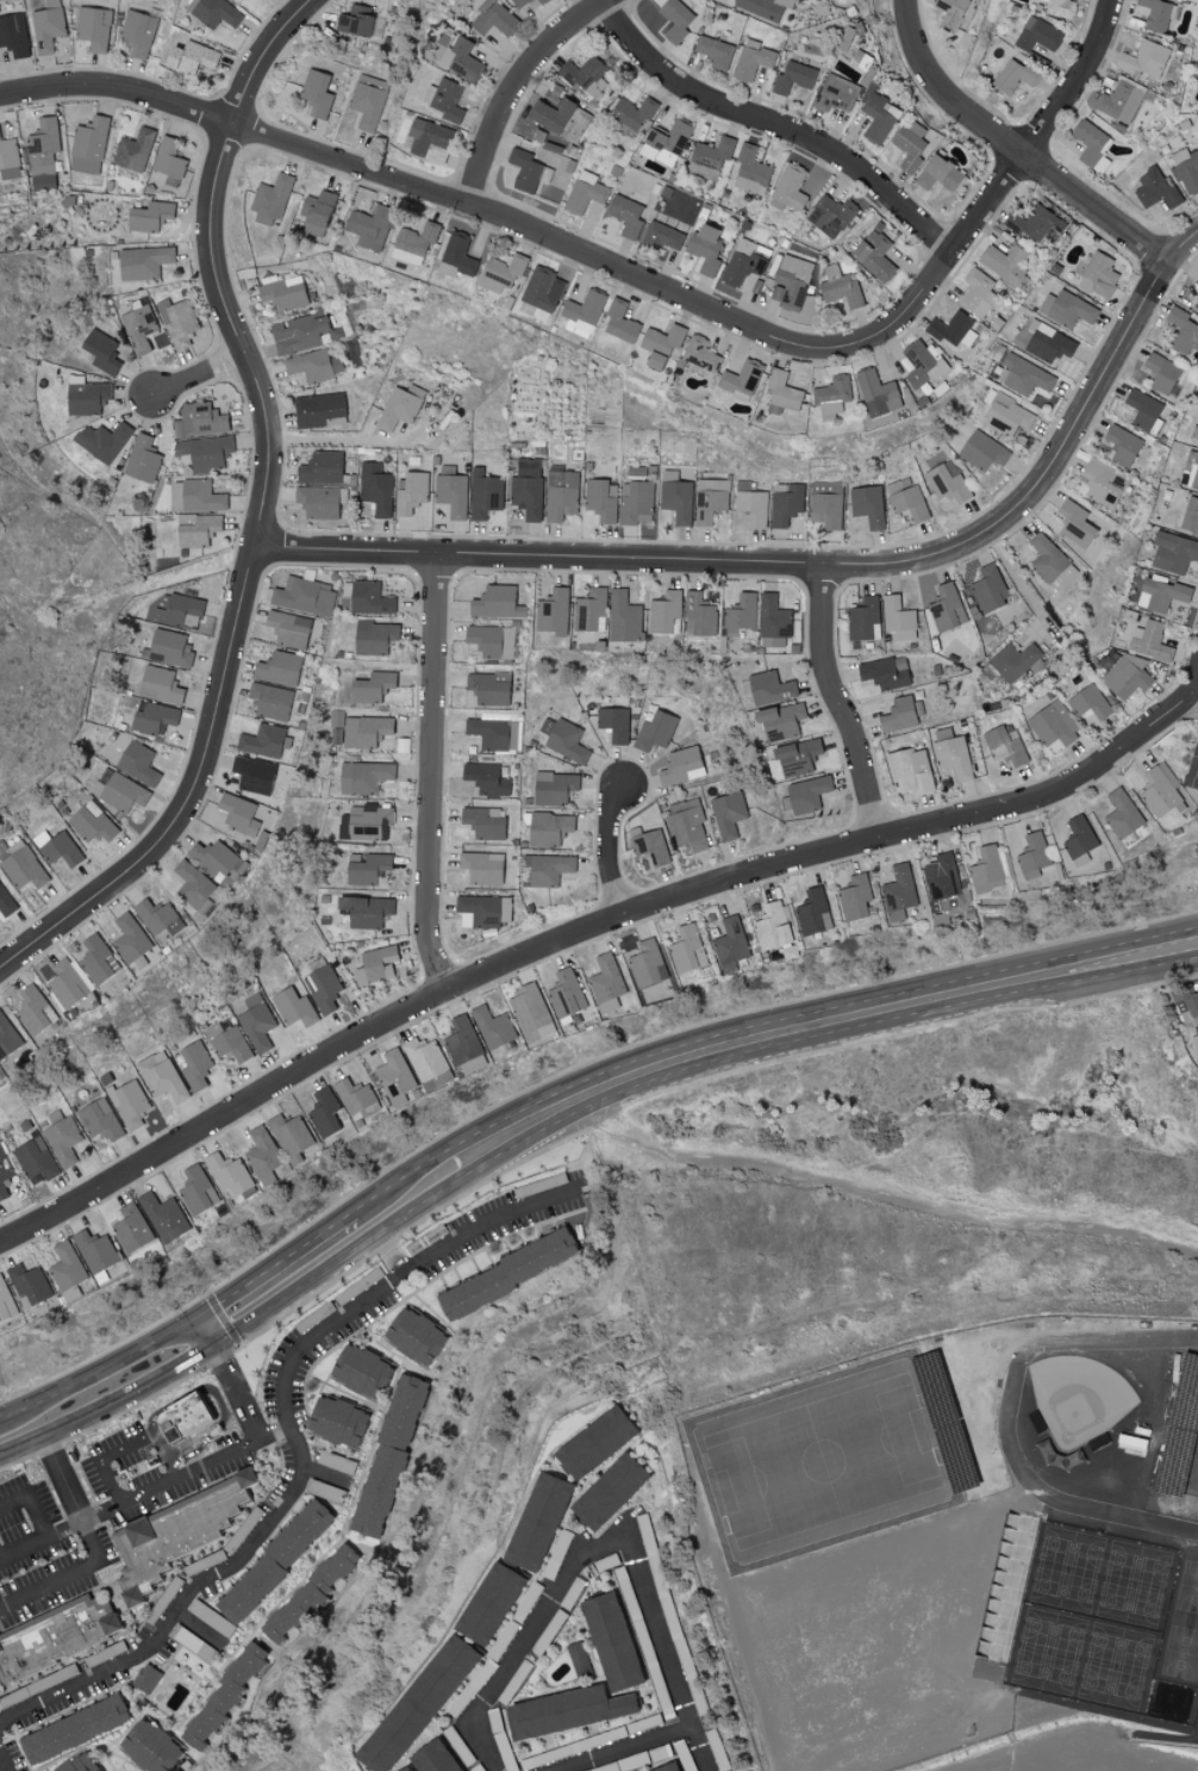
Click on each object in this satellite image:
building: (542, 1)
building: (519, 2)
building: (763, 7)
building: (1060, 8)
building: (216, 13)
building: (949, 13)
building: (1158, 14)
building: (492, 18)
building: (675, 20)
building: (358, 23)
building: (48, 26)
building: (93, 27)
building: (136, 31)
building: (13, 35)
building: (1037, 35)
building: (846, 37)
building: (716, 52)
building: (189, 58)
building: (461, 58)
building: (751, 60)
building: (1144, 60)
building: (584, 76)
building: (1012, 76)
building: (792, 77)
road: (1073, 83)
road: (516, 87)
building: (316, 93)
building: (836, 94)
building: (444, 99)
building: (368, 101)
building: (1119, 102)
building: (631, 113)
building: (550, 116)
building: (878, 118)
road: (772, 128)
building: (428, 136)
building: (664, 143)
building: (43, 145)
building: (88, 145)
building: (909, 145)
building: (1092, 147)
building: (135, 150)
road: (1011, 151)
building: (8, 153)
building: (710, 157)
building: (168, 161)
building: (1186, 169)
building: (526, 170)
building: (750, 170)
building: (10, 173)
building: (937, 174)
building: (791, 187)
building: (1156, 189)
building: (585, 192)
building: (270, 199)
building: (317, 212)
building: (149, 215)
building: (625, 216)
building: (830, 216)
building: (1035, 223)
building: (370, 225)
building: (661, 236)
building: (414, 242)
road: (553, 243)
building: (704, 249)
building: (456, 255)
building: (873, 256)
building: (143, 262)
building: (742, 262)
building: (1004, 262)
building: (1197, 267)
building: (500, 272)
building: (1098, 275)
building: (790, 282)
building: (840, 287)
building: (541, 290)
building: (977, 292)
building: (1197, 293)
building: (282, 294)
building: (1066, 307)
building: (582, 312)
building: (177, 321)
building: (618, 322)
building: (138, 327)
building: (953, 329)
building: (1181, 330)
building: (299, 333)
building: (662, 338)
building: (1047, 342)
building: (101, 350)
building: (699, 355)
building: (655, 360)
building: (311, 365)
building: (921, 365)
building: (1160, 372)
road: (195, 374)
building: (1023, 375)
building: (740, 379)
building: (782, 391)
building: (876, 392)
building: (832, 396)
building: (86, 397)
building: (399, 406)
building: (317, 409)
building: (1144, 410)
building: (1006, 414)
building: (199, 420)
building: (102, 440)
road: (331, 440)
building: (1122, 443)
building: (1197, 443)
building: (982, 449)
building: (205, 453)
building: (320, 467)
building: (1190, 473)
building: (948, 481)
building: (1100, 481)
building: (375, 487)
building: (528, 487)
building: (451, 491)
building: (411, 492)
building: (483, 493)
building: (176, 495)
building: (561, 495)
building: (201, 496)
building: (676, 497)
building: (601, 499)
building: (710, 499)
building: (906, 499)
building: (318, 502)
building: (637, 502)
building: (786, 503)
building: (867, 504)
building: (753, 505)
building: (824, 507)
road: (269, 511)
building: (1190, 516)
building: (1074, 523)
building: (196, 532)
building: (1173, 552)
building: (1050, 563)
road: (809, 568)
road: (1016, 577)
building: (988, 588)
building: (1160, 592)
building: (304, 596)
building: (493, 601)
building: (947, 607)
building: (589, 610)
building: (176, 611)
building: (553, 611)
building: (663, 611)
building: (740, 614)
building: (898, 614)
building: (699, 615)
building: (624, 619)
building: (865, 619)
building: (773, 621)
building: (287, 628)
building: (374, 636)
building: (491, 640)
building: (1149, 641)
building: (169, 647)
building: (1013, 660)
building: (277, 667)
building: (885, 672)
building: (1125, 678)
building: (158, 685)
building: (370, 685)
building: (488, 686)
building: (769, 688)
road: (1192, 698)
building: (270, 701)
building: (1091, 702)
road: (843, 708)
building: (898, 714)
building: (152, 719)
building: (780, 720)
building: (613, 723)
building: (1054, 725)
building: (364, 731)
building: (655, 731)
building: (493, 733)
building: (121, 740)
building: (263, 740)
building: (564, 740)
building: (1004, 746)
building: (797, 757)
building: (953, 757)
building: (137, 763)
building: (681, 765)
building: (1192, 768)
building: (910, 771)
building: (252, 773)
road: (432, 775)
building: (363, 776)
building: (485, 778)
building: (553, 787)
building: (119, 791)
building: (1158, 793)
building: (807, 794)
building: (238, 813)
building: (1121, 813)
building: (728, 814)
building: (92, 822)
building: (366, 822)
building: (482, 822)
building: (686, 825)
building: (548, 828)
building: (1078, 837)
building: (651, 846)
building: (61, 849)
road: (612, 853)
building: (1034, 855)
building: (213, 858)
building: (481, 866)
building: (24, 868)
building: (366, 868)
building: (547, 869)
building: (987, 869)
building: (192, 883)
building: (946, 883)
building: (898, 893)
building: (854, 897)
building: (5, 902)
building: (364, 911)
building: (482, 911)
building: (813, 912)
building: (157, 916)
building: (773, 926)
road: (592, 932)
building: (130, 938)
building: (730, 945)
building: (687, 950)
building: (98, 959)
building: (645, 963)
building: (374, 965)
building: (67, 983)
building: (606, 983)
building: (324, 987)
building: (566, 993)
building: (1186, 1003)
building: (293, 1007)
building: (35, 1009)
building: (530, 1012)
building: (256, 1023)
road: (757, 1023)
building: (492, 1026)
building: (1196, 1033)
building: (7, 1037)
building: (462, 1039)
building: (227, 1042)
building: (424, 1058)
building: (472, 1063)
building: (195, 1064)
building: (394, 1073)
road: (676, 1073)
building: (161, 1076)
building: (354, 1095)
building: (129, 1104)
building: (324, 1112)
building: (99, 1119)
building: (289, 1136)
building: (63, 1141)
building: (261, 1152)
building: (35, 1160)
building: (4, 1173)
building: (227, 1173)
building: (196, 1189)
road: (884, 1193)
building: (163, 1217)
building: (131, 1228)
building: (94, 1250)
building: (65, 1266)
road: (279, 1268)
building: (505, 1273)
building: (29, 1285)
building: (70, 1293)
building: (6, 1303)
traffic signals: (204, 1321)
road: (211, 1331)
building: (412, 1336)
traffic signals: (218, 1343)
building: (357, 1369)
road: (104, 1375)
building: (1140, 1375)
road: (241, 1392)
road: (111, 1402)
building: (182, 1416)
building: (1037, 1418)
building: (335, 1421)
building: (1154, 1441)
building: (592, 1442)
road: (129, 1444)
road: (297, 1449)
building: (386, 1458)
building: (1003, 1465)
road: (71, 1477)
road: (173, 1480)
road: (56, 1483)
building: (606, 1492)
building: (1142, 1495)
road: (31, 1503)
building: (536, 1522)
building: (177, 1533)
road: (42, 1543)
road: (600, 1547)
building: (273, 1561)
road: (69, 1576)
building: (306, 1595)
building: (487, 1604)
building: (54, 1638)
building: (610, 1641)
building: (578, 1657)
building: (145, 1679)
building: (221, 1696)
building: (414, 1705)
building: (564, 1711)
building: (77, 1728)
building: (148, 1747)
road: (623, 1747)
building: (433, 1757)
road: (2, 1764)
building: (81, 1764)
building: (667, 1767)
building: (403, 1769)

